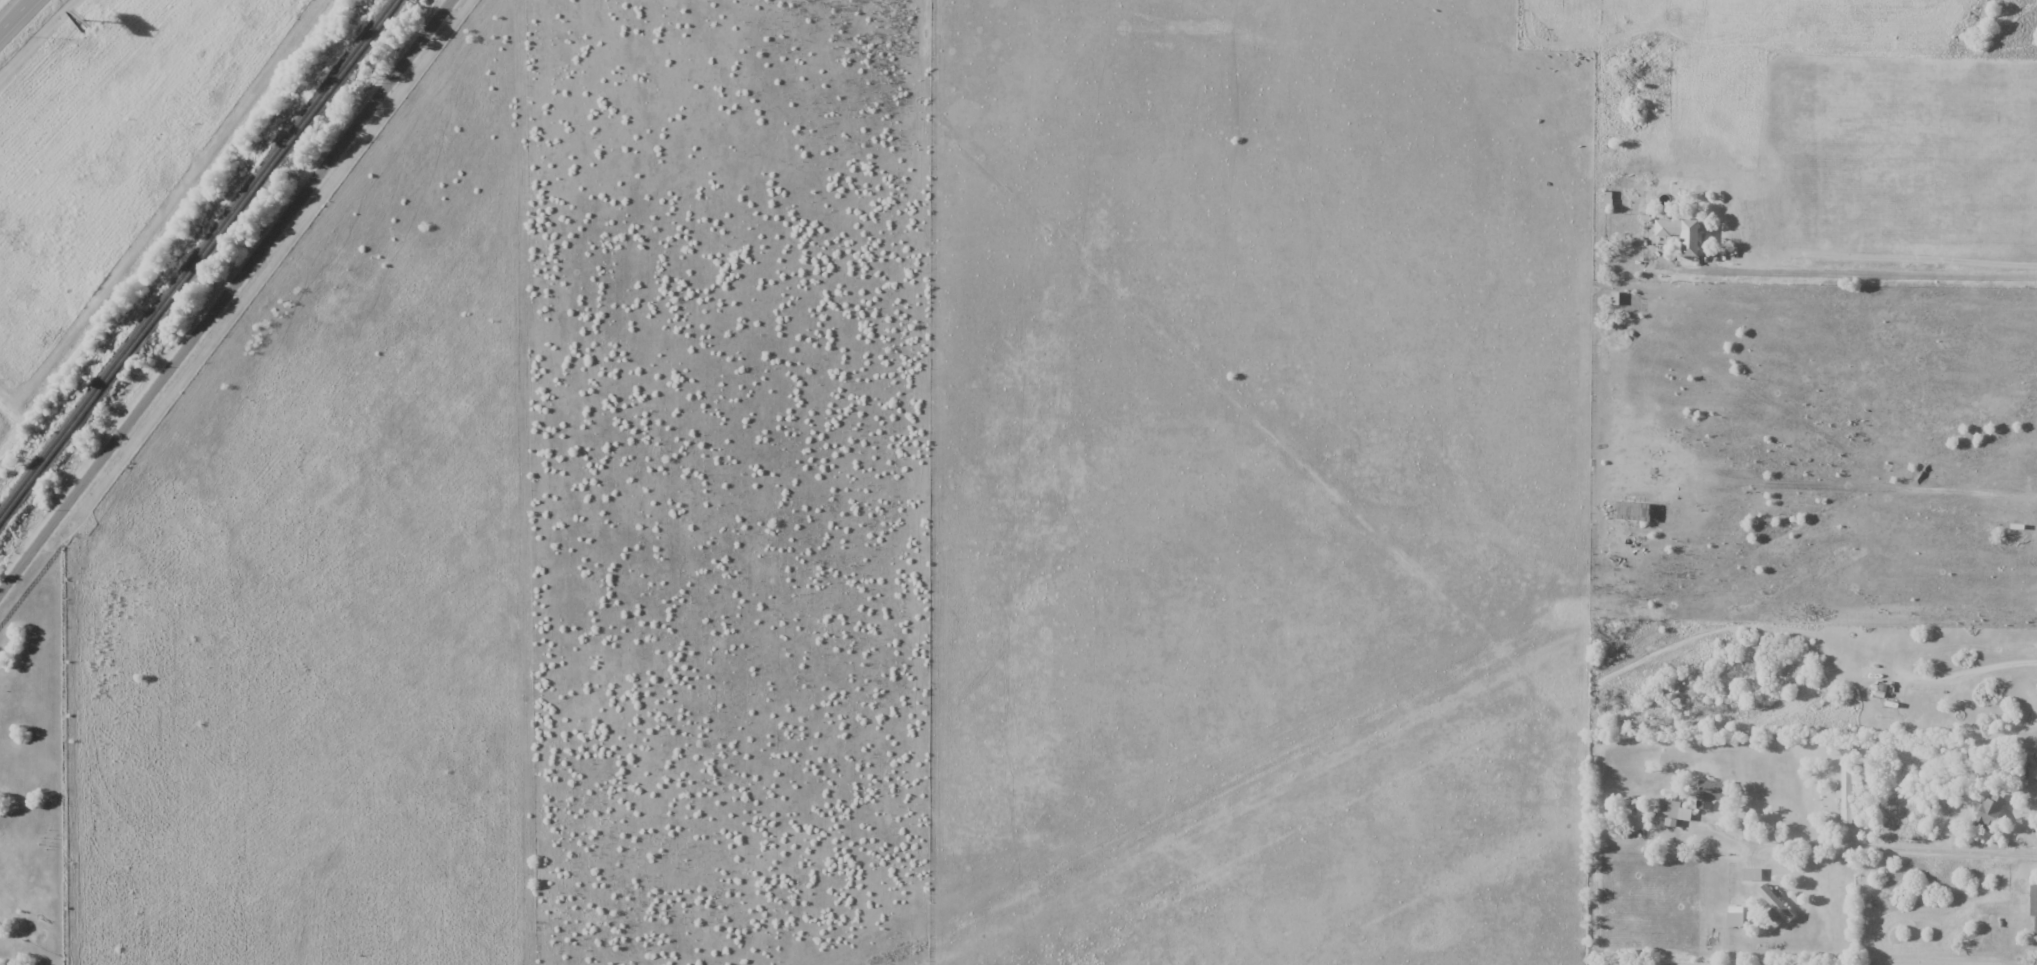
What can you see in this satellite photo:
road: (16, 16)
building: (1682, 234)
railway: (197, 259)
road: (1872, 272)
road: (225, 295)
road: (1975, 669)
building: (1889, 699)
building: (1846, 793)
building: (1711, 794)
building: (1664, 810)
building: (1988, 813)
road: (1875, 847)
building: (1751, 874)
building: (2033, 903)

